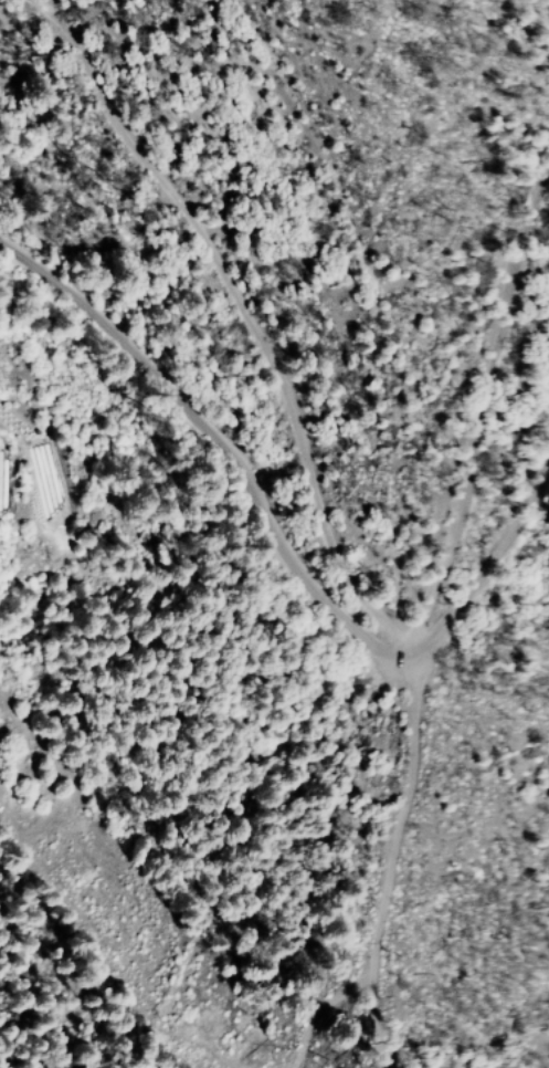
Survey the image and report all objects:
road: (230, 284)
road: (479, 386)
road: (267, 562)

